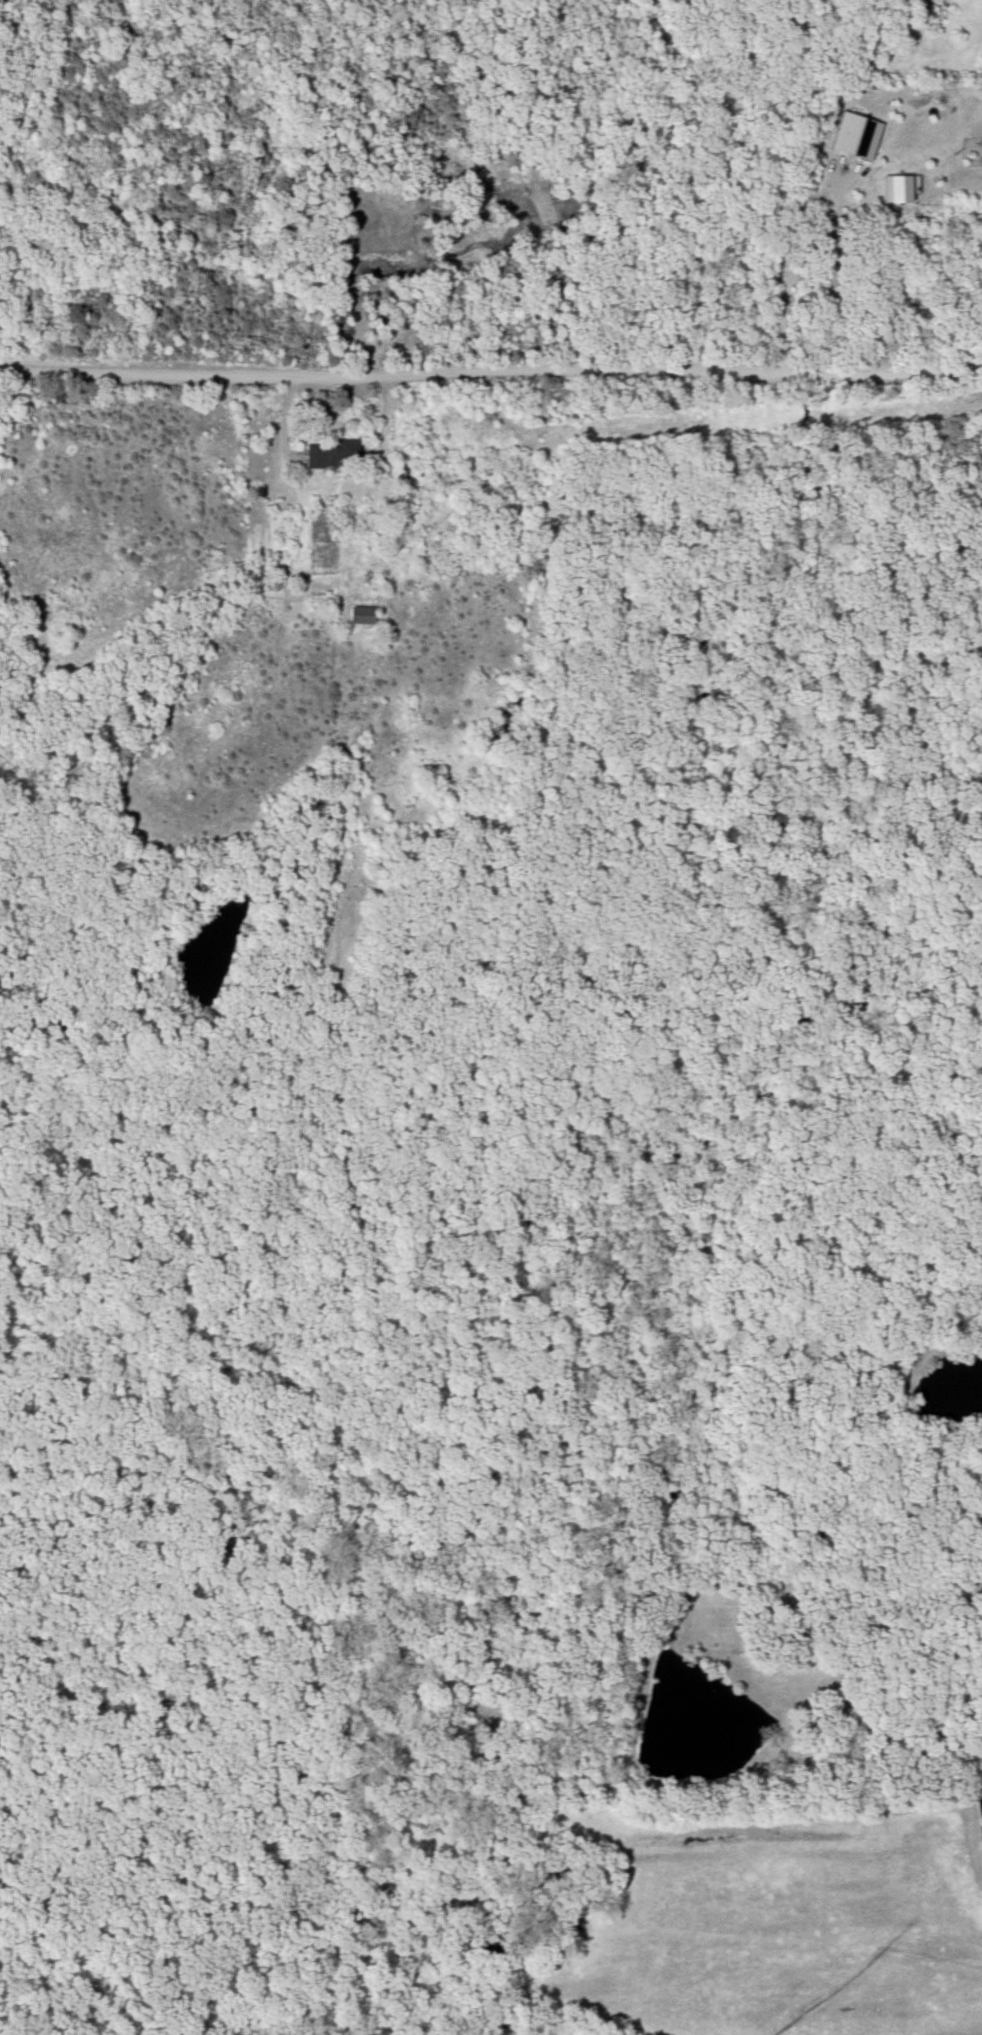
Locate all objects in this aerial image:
road: (796, 267)
road: (490, 373)
building: (334, 455)
building: (365, 615)

